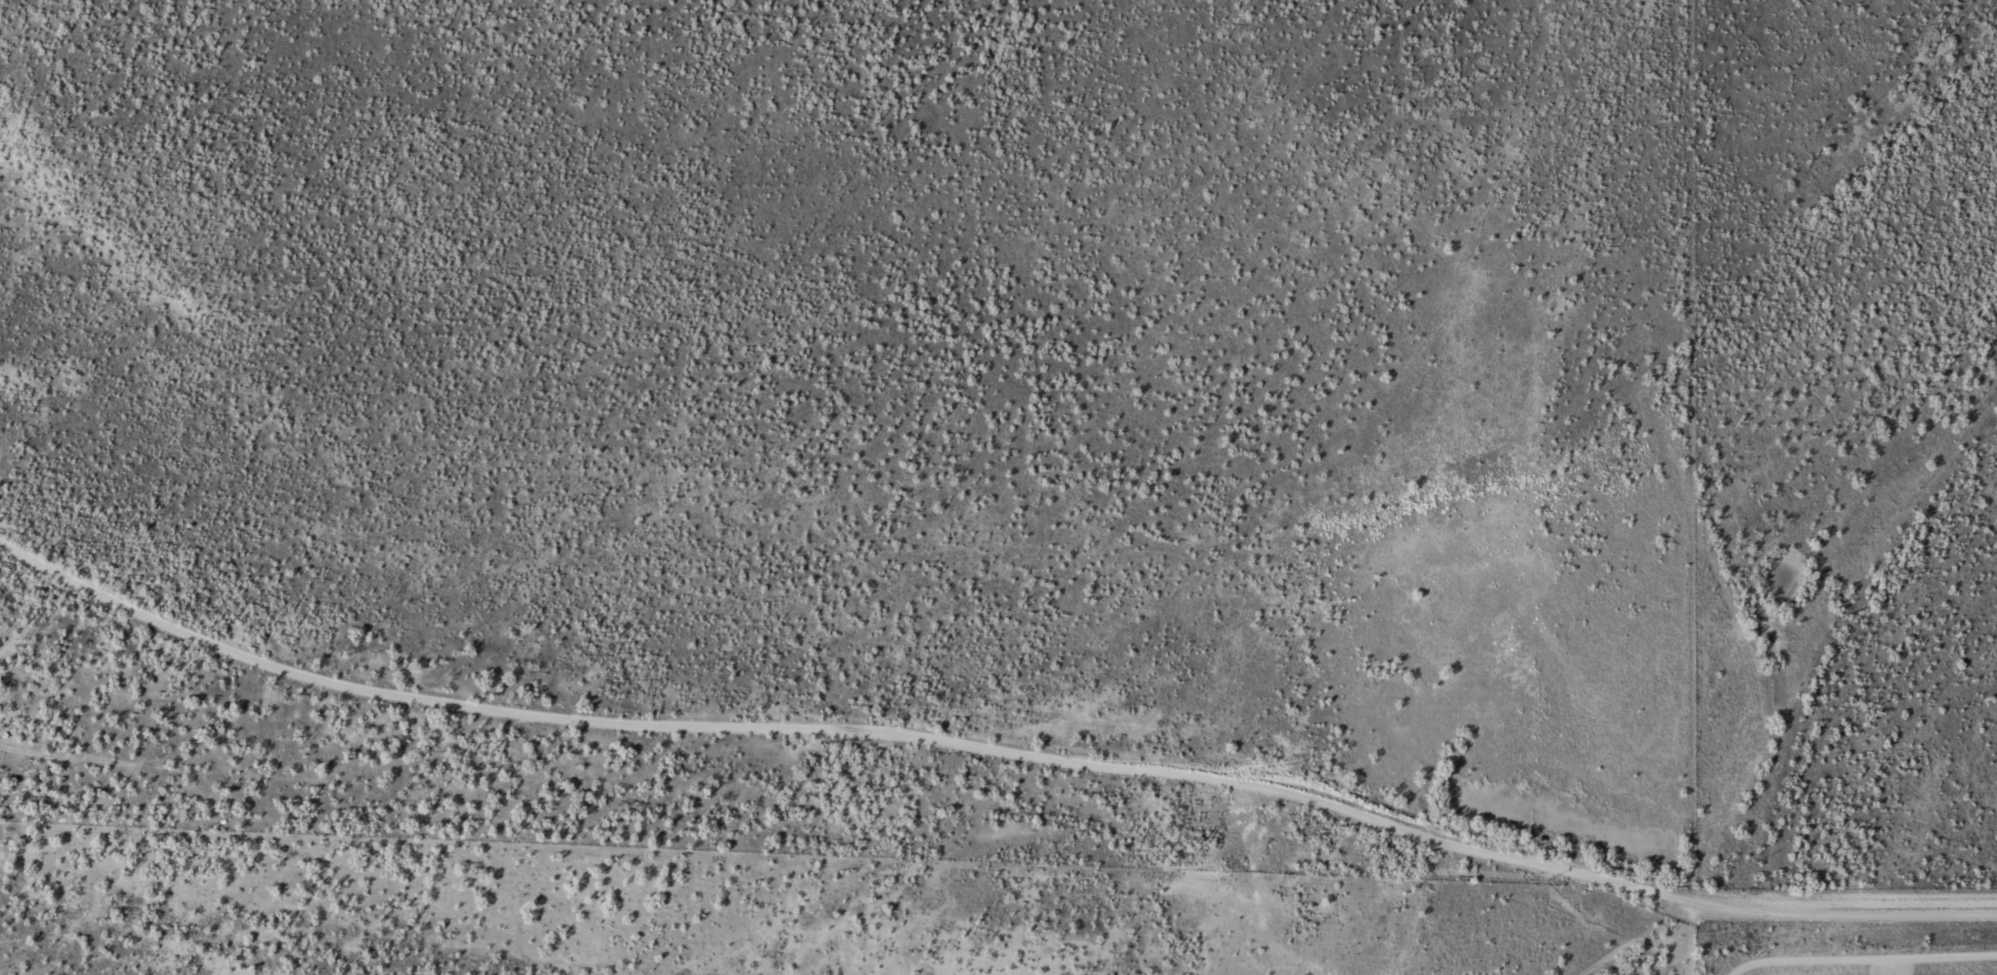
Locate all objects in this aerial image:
road: (987, 751)

